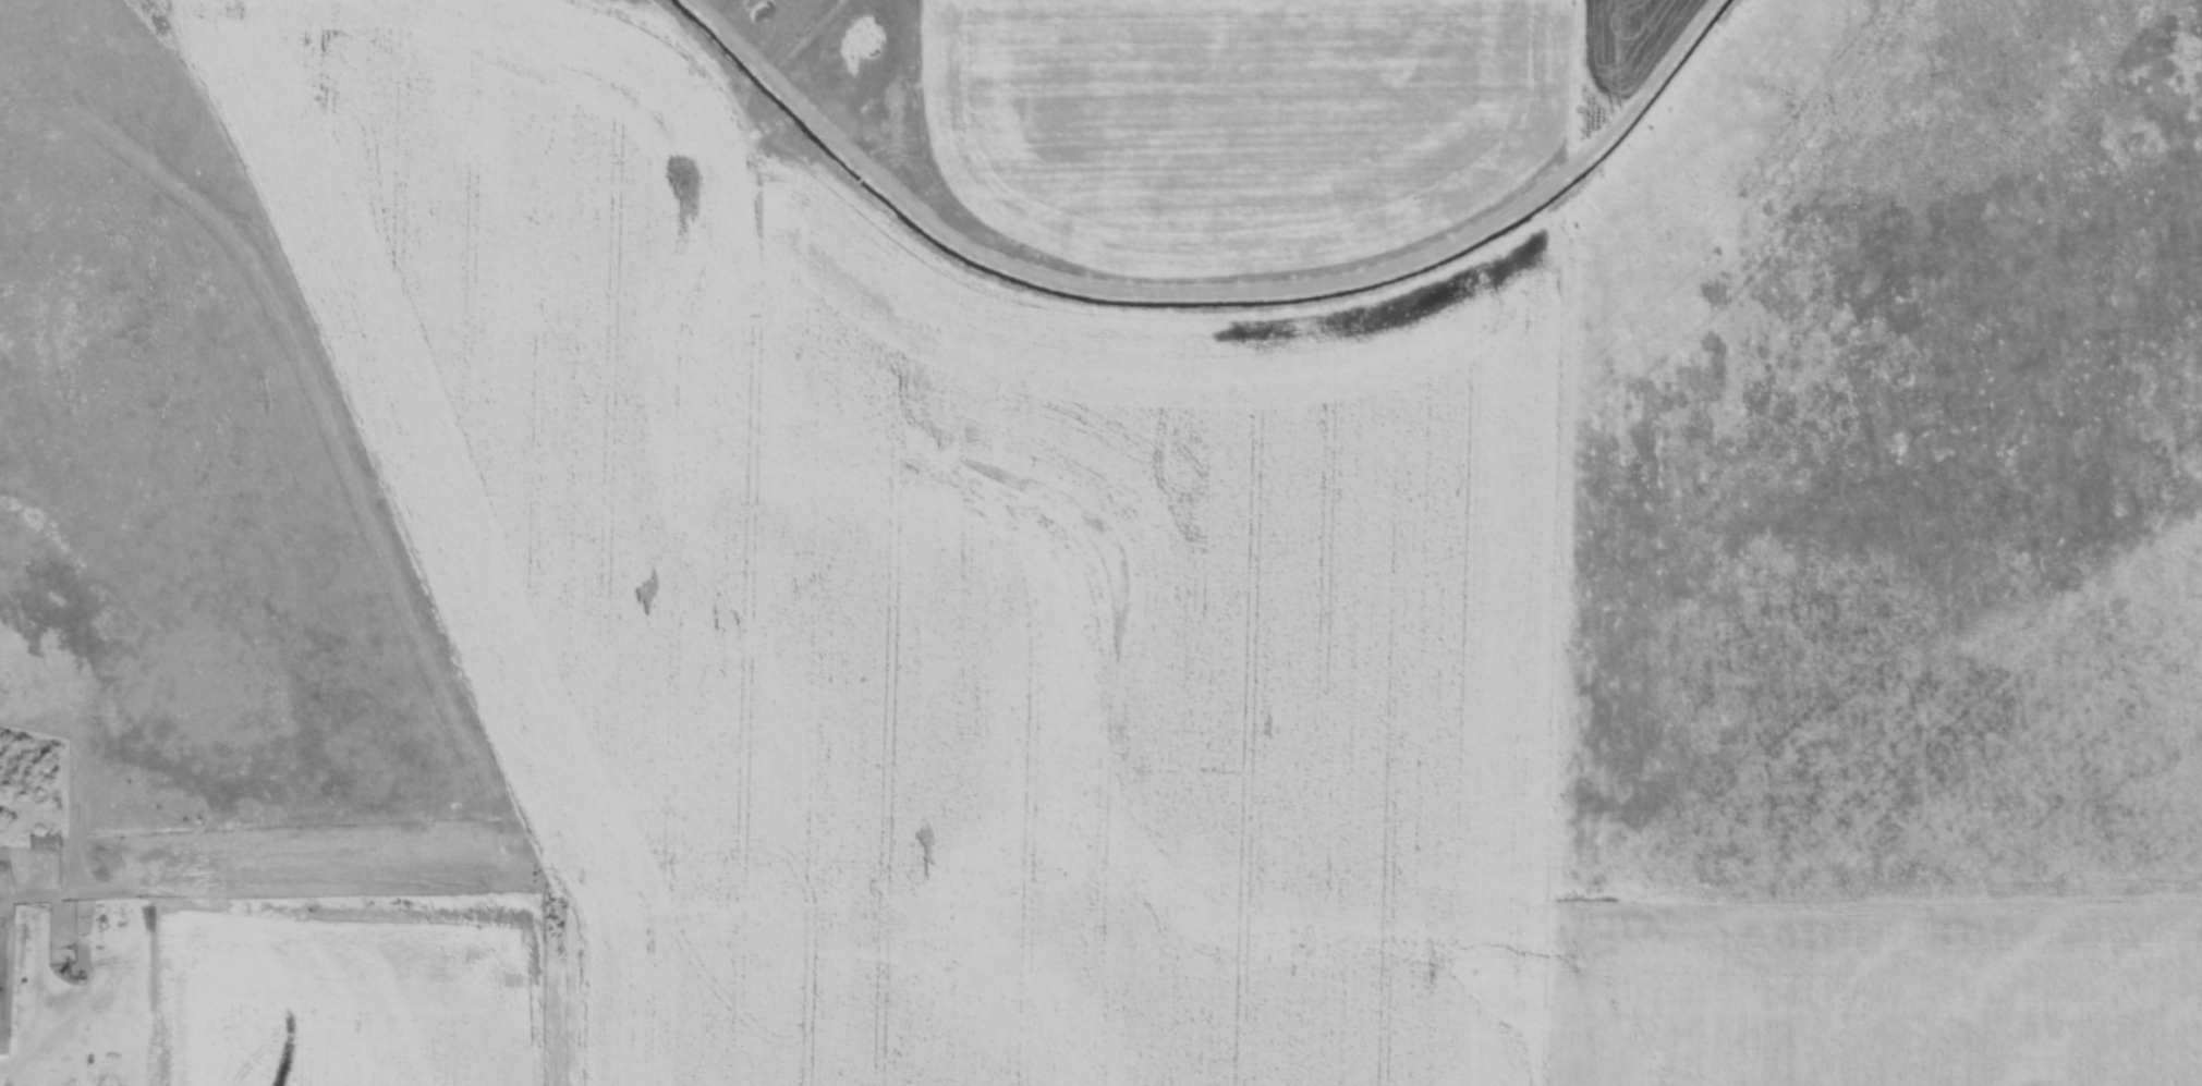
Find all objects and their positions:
building: (42, 840)
building: (3, 853)

